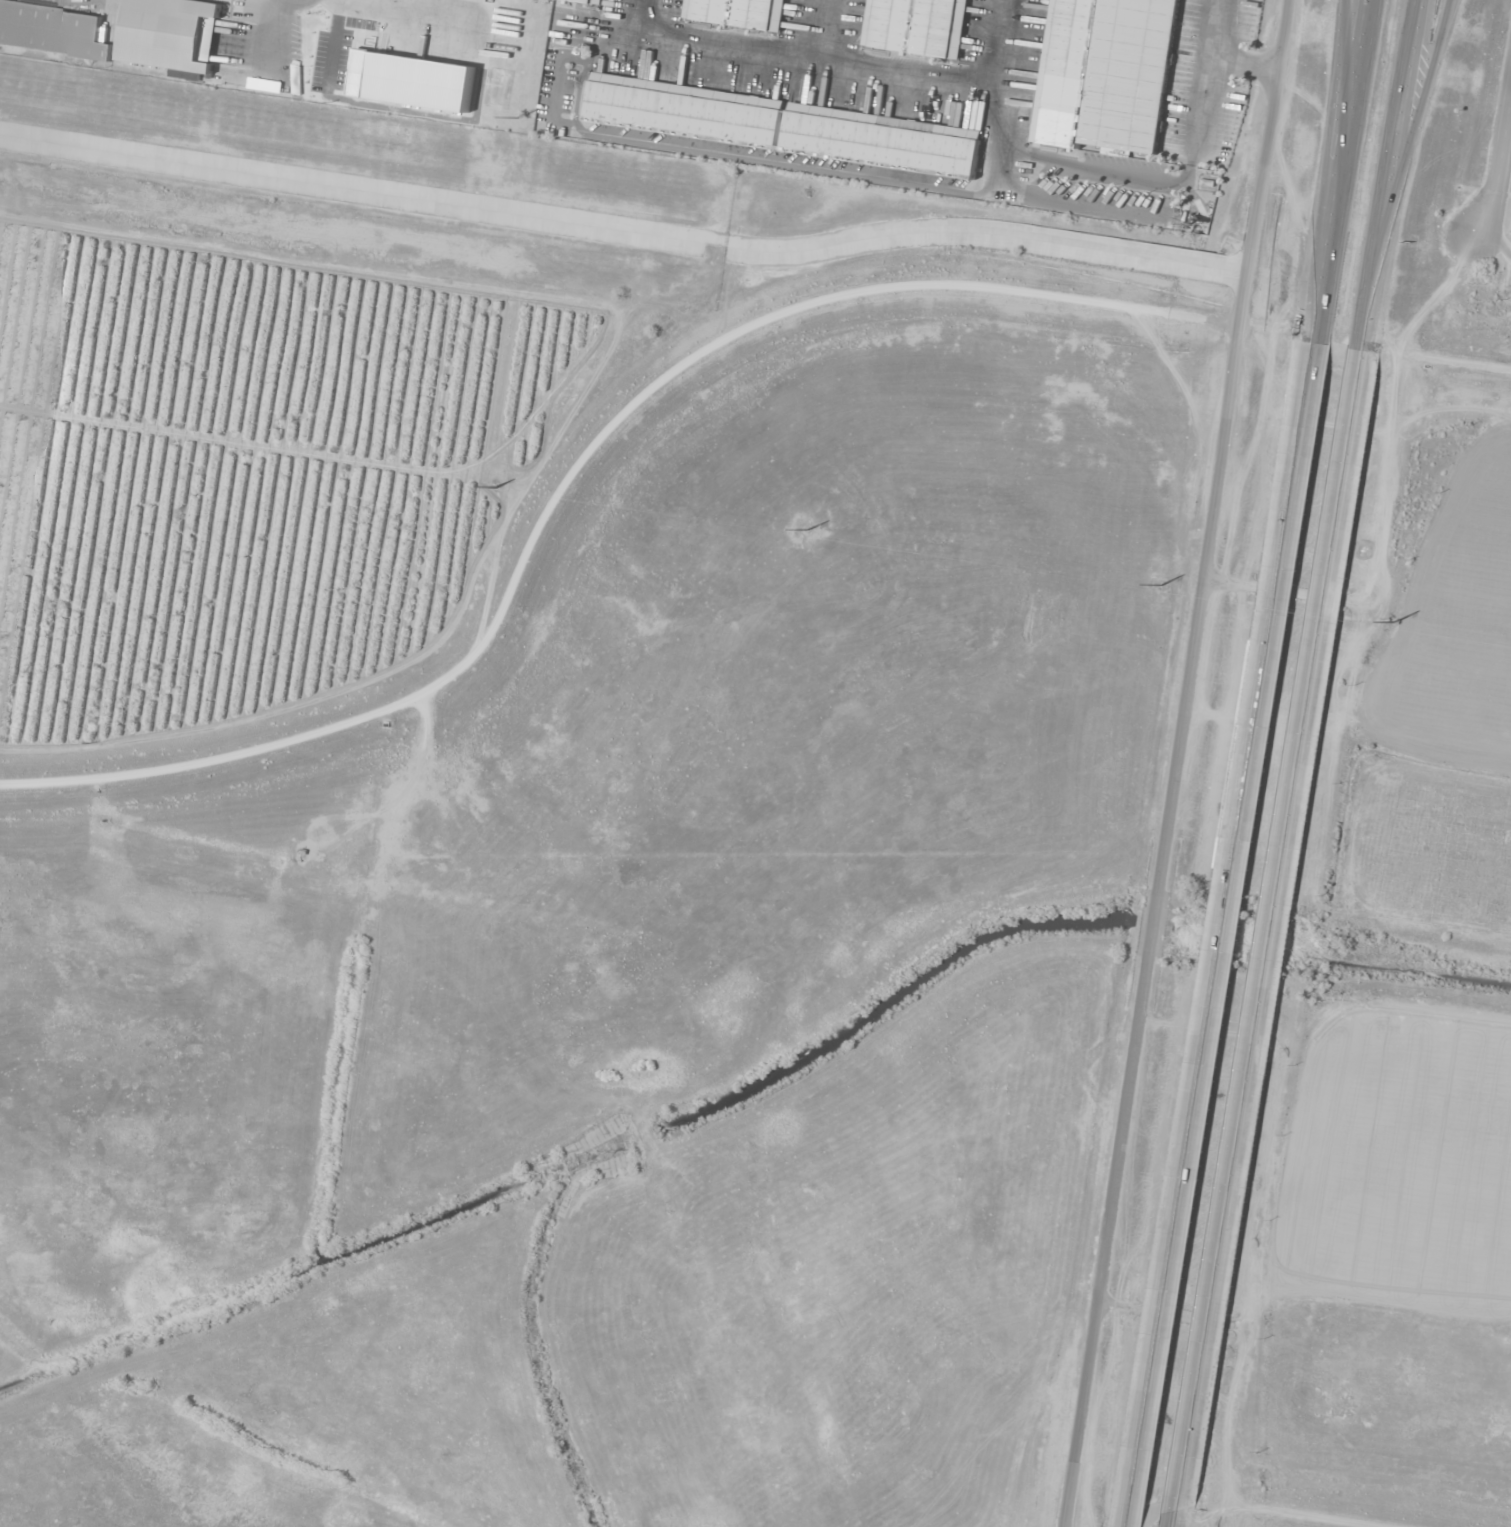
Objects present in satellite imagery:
building: (588, 1)
building: (739, 13)
building: (918, 26)
building: (52, 31)
road: (818, 33)
building: (170, 34)
road: (847, 72)
building: (1106, 73)
building: (784, 126)
road: (1338, 141)
road: (1415, 147)
road: (1342, 170)
road: (1498, 171)
road: (1397, 174)
road: (623, 233)
road: (1496, 237)
road: (581, 465)
road: (1176, 763)
road: (1281, 928)
road: (1221, 932)
road: (1184, 1516)
road: (1123, 1525)

